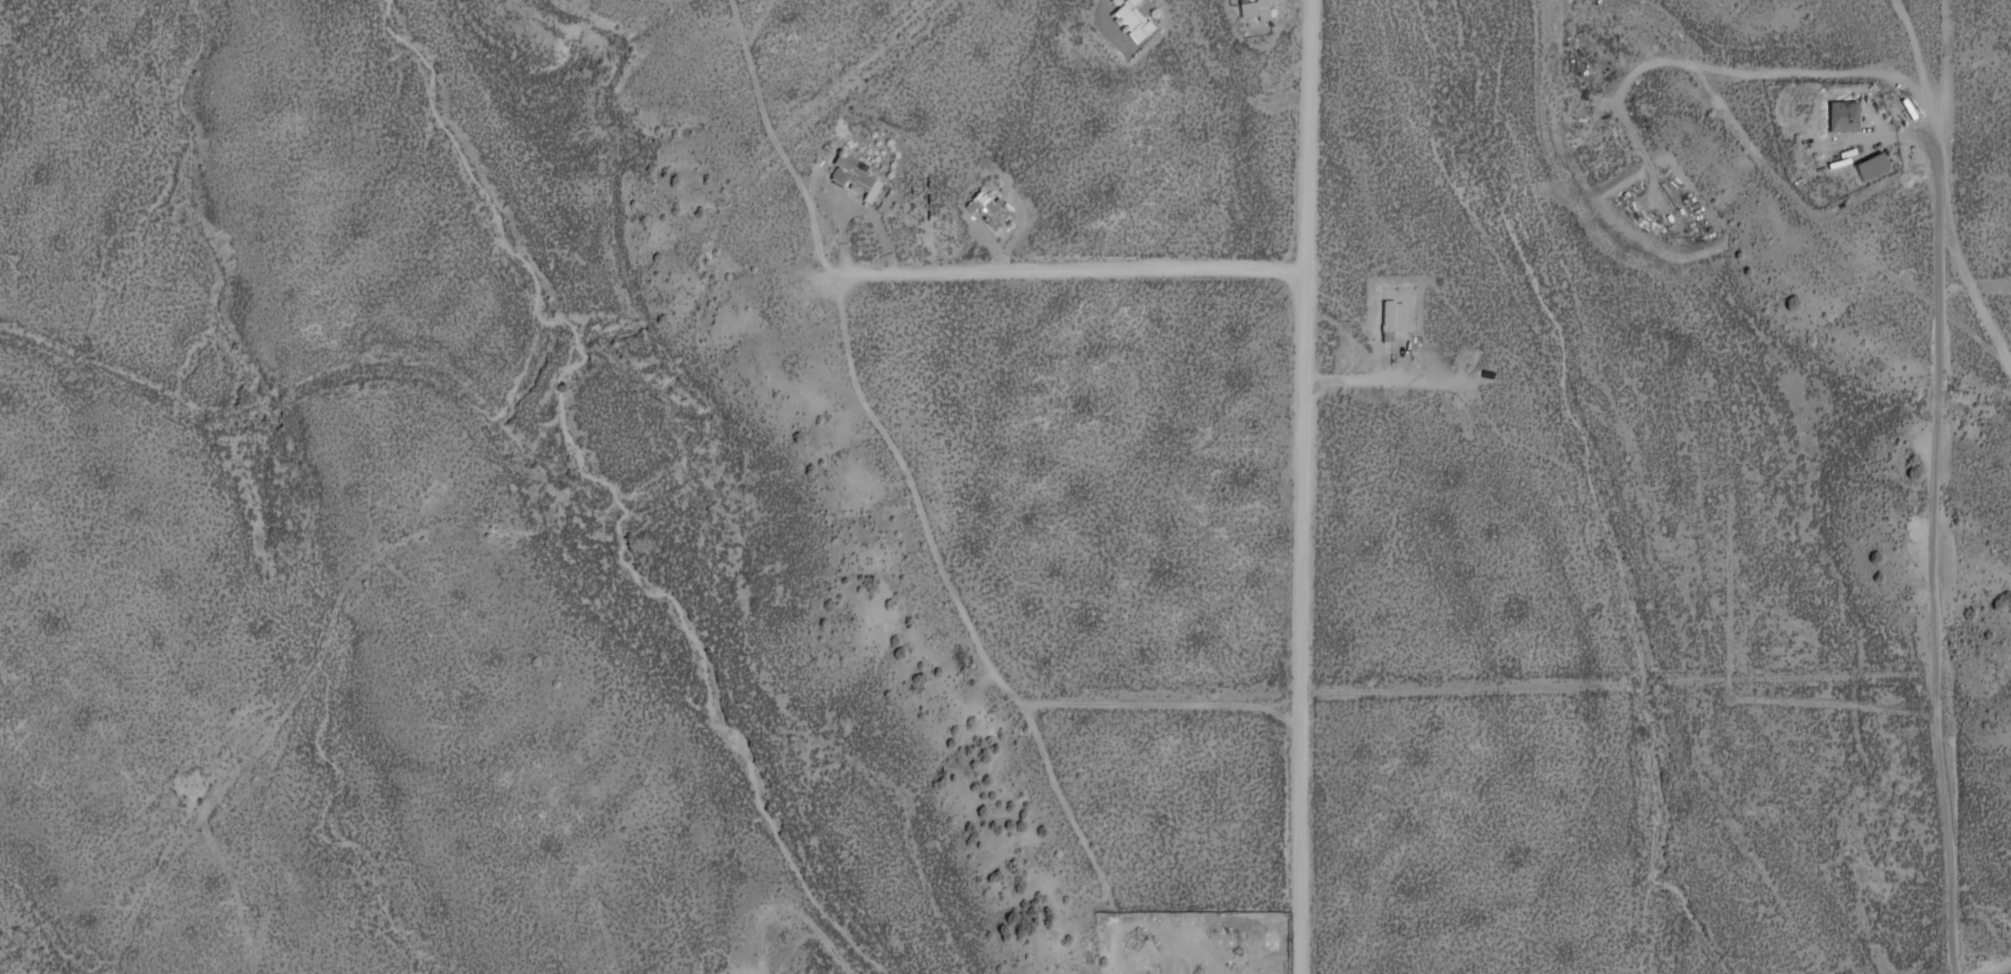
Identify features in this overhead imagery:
road: (1073, 268)
building: (1393, 319)
road: (1302, 486)

